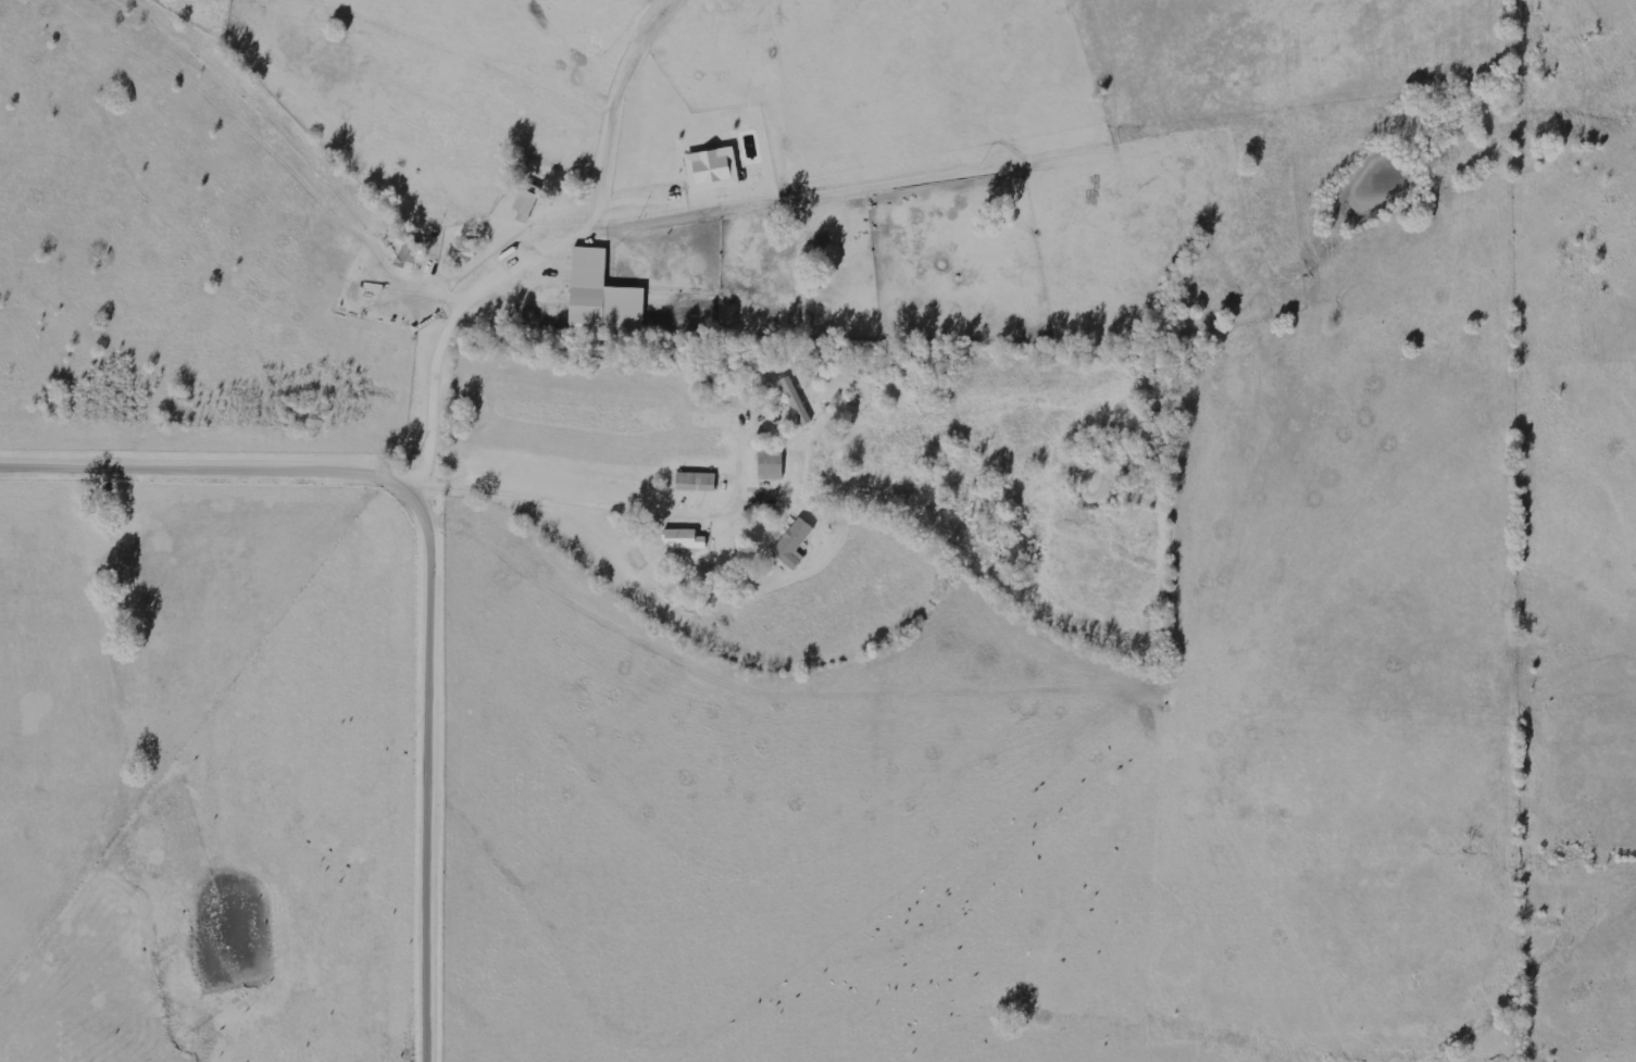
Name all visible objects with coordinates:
building: (713, 171)
building: (526, 204)
building: (410, 257)
building: (603, 299)
road: (512, 324)
building: (797, 402)
building: (772, 464)
road: (66, 472)
building: (697, 484)
building: (684, 541)
building: (794, 546)
road: (437, 634)

